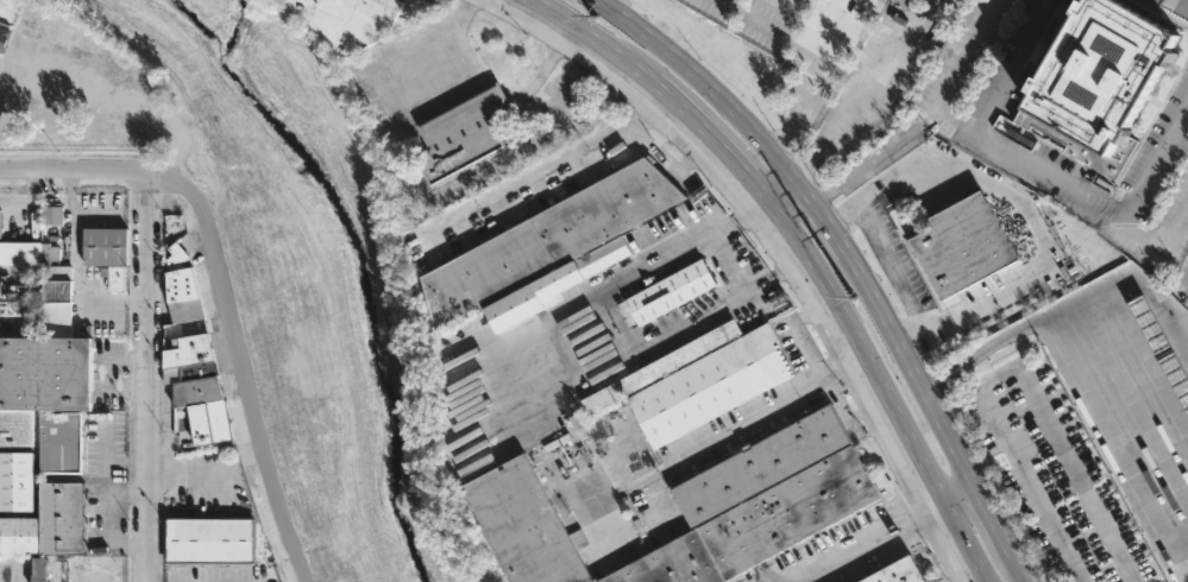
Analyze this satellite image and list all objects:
power tower: (591, 17)
building: (25, 20)
building: (348, 20)
road: (848, 24)
building: (2, 32)
road: (782, 45)
road: (539, 74)
road: (862, 81)
building: (1102, 82)
road: (80, 88)
building: (461, 133)
road: (180, 141)
road: (894, 141)
road: (1042, 165)
road: (539, 170)
road: (118, 171)
road: (420, 192)
road: (791, 202)
road: (1022, 205)
building: (543, 240)
building: (961, 243)
building: (105, 247)
road: (775, 247)
building: (27, 253)
road: (802, 260)
road: (856, 264)
road: (787, 267)
road: (1182, 271)
building: (113, 278)
building: (551, 284)
road: (755, 285)
building: (665, 292)
building: (180, 295)
power tower: (850, 297)
building: (54, 299)
road: (1071, 305)
road: (546, 324)
building: (1161, 347)
road: (805, 356)
road: (1012, 372)
road: (145, 377)
building: (40, 382)
building: (709, 385)
building: (195, 387)
road: (259, 404)
road: (743, 413)
road: (1117, 436)
building: (61, 443)
building: (759, 464)
building: (15, 481)
road: (967, 501)
building: (61, 519)
building: (521, 525)
building: (759, 525)
building: (19, 537)
building: (207, 540)
road: (854, 546)
building: (40, 569)
building: (0, 571)
building: (895, 572)

